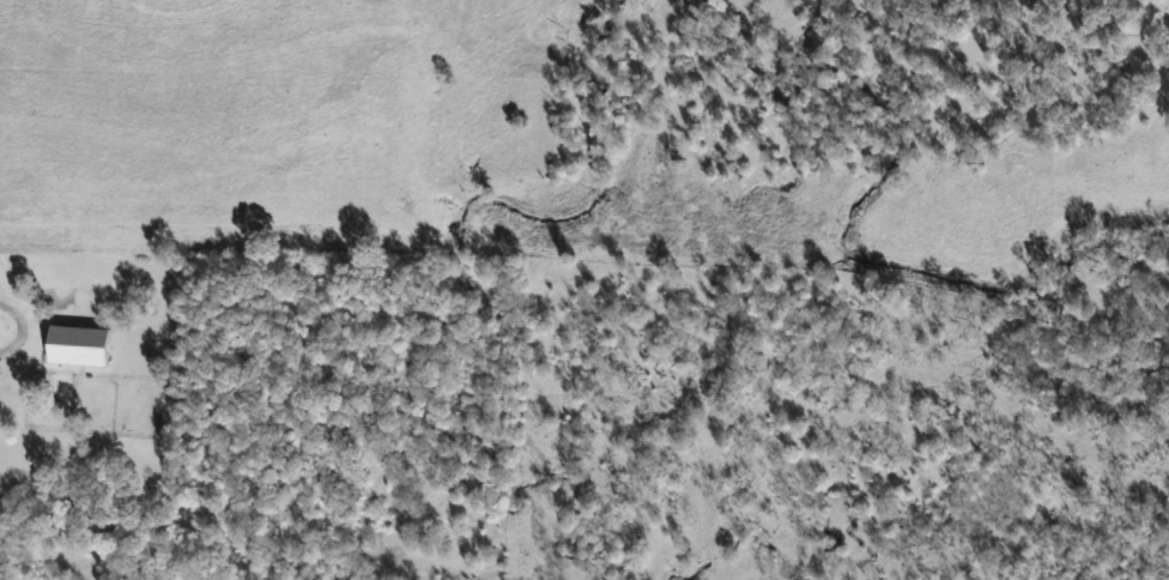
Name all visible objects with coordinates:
road: (13, 326)

